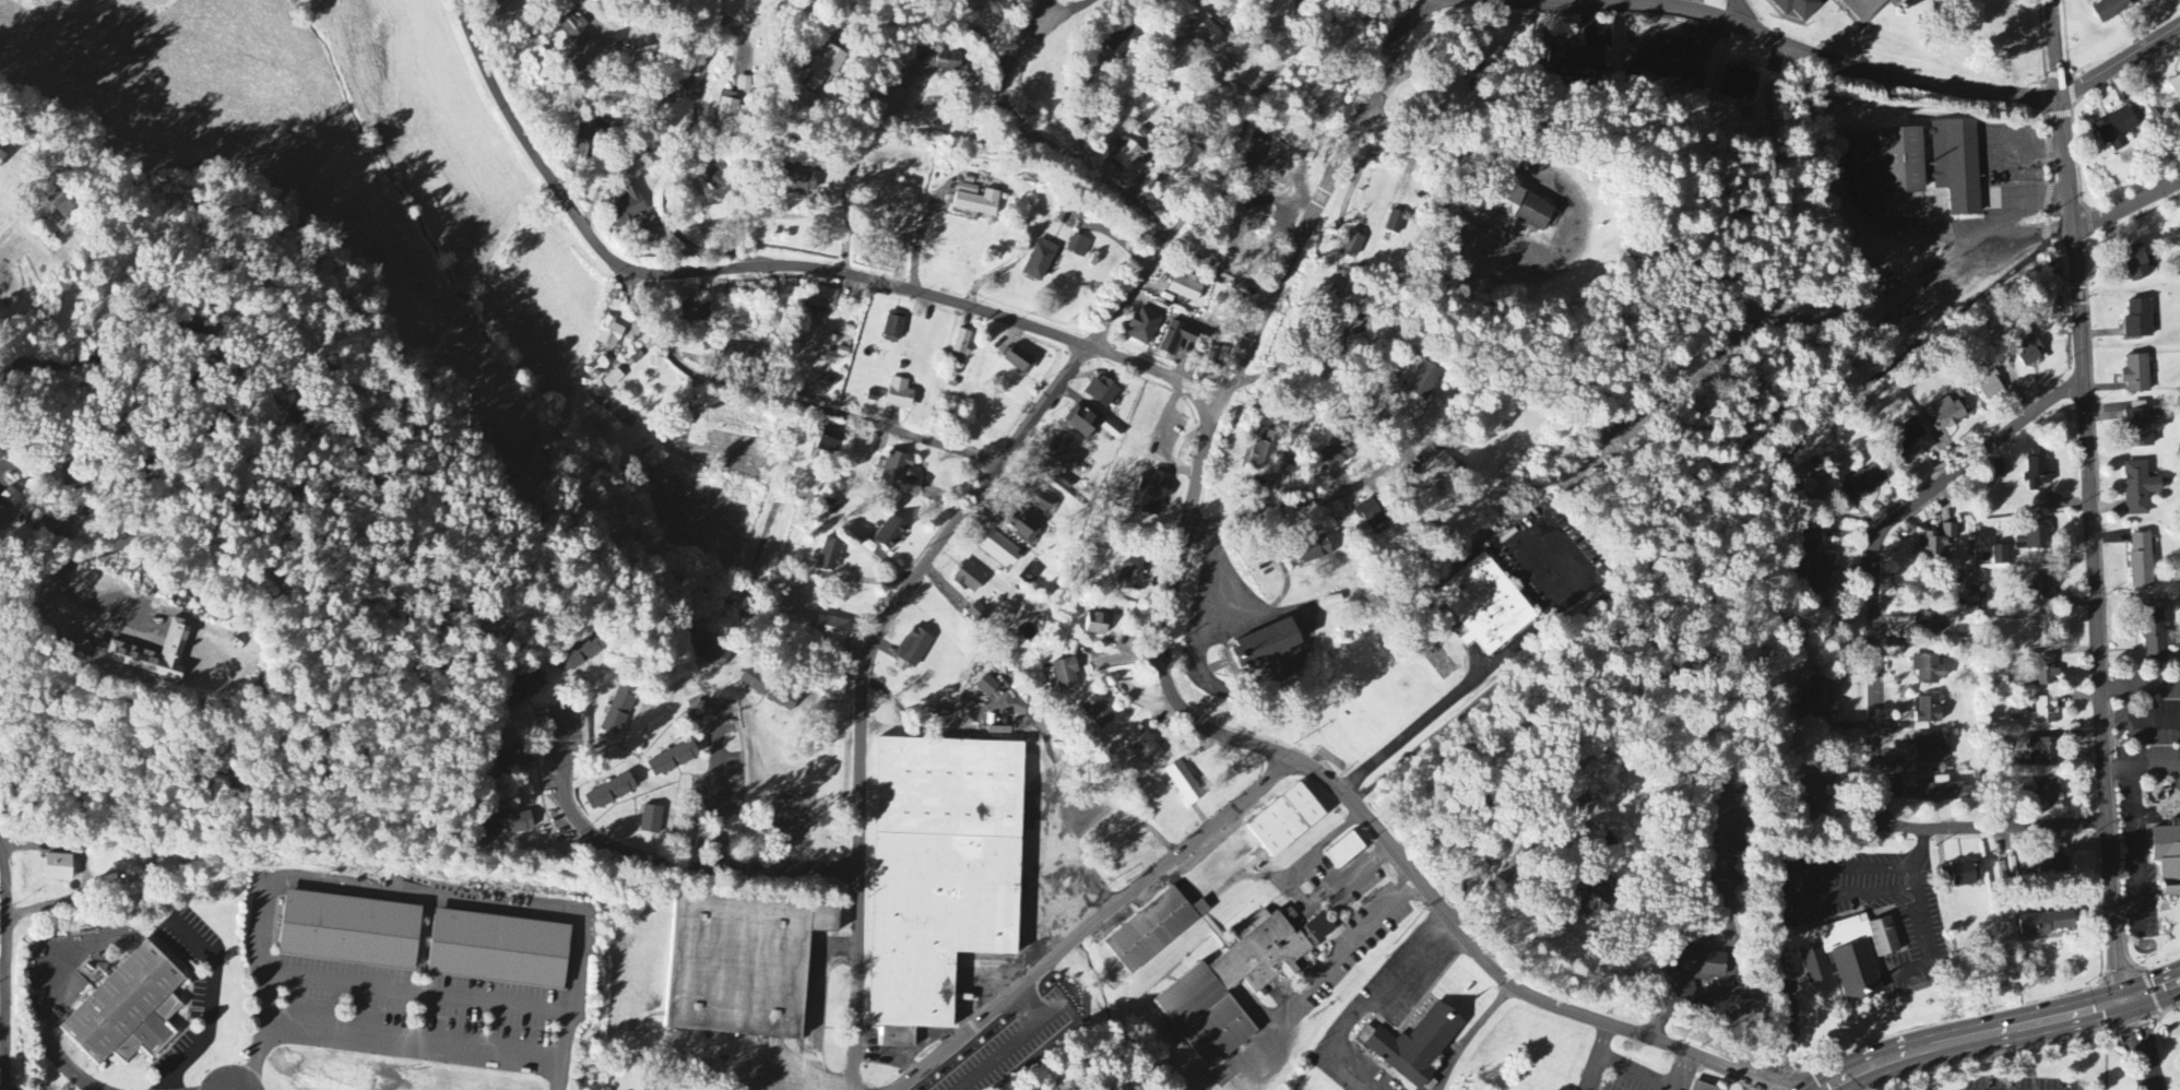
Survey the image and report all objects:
building: (1904, 0)
building: (596, 1)
road: (1422, 4)
road: (1434, 4)
building: (1801, 8)
building: (1864, 10)
building: (2111, 10)
road: (1038, 15)
road: (1059, 15)
road: (963, 23)
building: (1208, 31)
building: (579, 37)
building: (1125, 43)
road: (2053, 48)
building: (1490, 54)
building: (1656, 57)
building: (1575, 59)
building: (941, 61)
road: (2119, 61)
road: (631, 66)
building: (825, 66)
building: (1739, 83)
building: (745, 84)
building: (2175, 87)
building: (727, 109)
building: (2116, 129)
road: (1240, 130)
building: (585, 141)
road: (1424, 146)
building: (1, 155)
building: (1126, 155)
building: (1889, 158)
road: (680, 161)
road: (2050, 170)
building: (716, 180)
building: (797, 180)
road: (1103, 182)
building: (978, 203)
building: (63, 205)
building: (628, 206)
building: (1523, 206)
road: (2128, 218)
road: (846, 223)
building: (1396, 223)
building: (1232, 242)
building: (1352, 245)
building: (1079, 247)
building: (1040, 260)
building: (2136, 263)
road: (771, 272)
building: (1186, 288)
building: (819, 298)
road: (2080, 310)
building: (695, 311)
building: (2140, 320)
building: (1144, 327)
building: (893, 328)
building: (609, 334)
road: (204, 335)
building: (962, 343)
building: (742, 353)
building: (2030, 355)
building: (1019, 360)
building: (2137, 374)
building: (613, 379)
building: (1424, 381)
building: (1990, 386)
building: (1102, 392)
building: (899, 395)
road: (782, 400)
building: (1945, 414)
building: (1081, 422)
building: (2143, 428)
road: (51, 439)
building: (829, 442)
building: (1909, 443)
building: (1265, 450)
building: (1338, 452)
building: (1065, 454)
building: (1429, 455)
building: (2038, 470)
building: (1439, 473)
building: (899, 475)
building: (1868, 481)
building: (1063, 482)
building: (2140, 489)
building: (1153, 493)
building: (10, 499)
road: (1314, 501)
building: (1042, 502)
building: (831, 507)
building: (1370, 516)
building: (2, 518)
road: (1696, 521)
building: (1020, 526)
building: (55, 530)
building: (890, 534)
building: (2034, 540)
building: (1936, 543)
building: (999, 549)
building: (1311, 550)
building: (830, 556)
building: (2000, 556)
building: (2142, 561)
building: (1817, 571)
road: (1220, 572)
building: (1130, 578)
building: (969, 579)
building: (2042, 589)
building: (1488, 603)
building: (978, 614)
building: (1927, 624)
building: (1095, 625)
building: (832, 629)
building: (2156, 636)
building: (1264, 647)
building: (913, 651)
building: (581, 654)
building: (711, 654)
building: (153, 655)
road: (1875, 663)
building: (1929, 670)
road: (1483, 672)
building: (2046, 673)
building: (1065, 675)
road: (862, 682)
building: (987, 687)
building: (523, 690)
building: (770, 690)
road: (2141, 694)
road: (1177, 695)
building: (1820, 702)
building: (618, 710)
building: (2045, 712)
building: (1098, 713)
building: (1927, 713)
road: (2141, 724)
building: (1145, 748)
building: (1931, 750)
building: (2043, 751)
building: (518, 760)
building: (673, 760)
road: (2157, 770)
road: (2121, 772)
building: (1909, 782)
building: (1183, 783)
building: (1821, 783)
road: (718, 786)
building: (1939, 792)
building: (2049, 792)
building: (611, 793)
building: (651, 820)
building: (1286, 821)
building: (509, 825)
road: (2137, 841)
road: (600, 843)
building: (1344, 852)
building: (2168, 858)
building: (1505, 863)
building: (2052, 865)
road: (799, 867)
building: (57, 869)
building: (940, 872)
road: (1553, 873)
building: (1966, 874)
road: (88, 875)
road: (404, 891)
road: (1778, 896)
building: (1595, 897)
road: (2129, 912)
road: (1923, 913)
road: (2138, 922)
road: (1092, 924)
building: (2045, 924)
building: (1319, 929)
building: (1153, 931)
building: (349, 932)
building: (498, 951)
building: (1845, 956)
road: (5, 963)
road: (1330, 964)
building: (742, 965)
building: (1696, 968)
road: (2, 970)
building: (1232, 987)
road: (419, 993)
traffic signals: (2129, 999)
road: (213, 1005)
road: (1369, 1007)
building: (127, 1009)
road: (819, 1015)
road: (1998, 1030)
road: (1470, 1034)
road: (413, 1038)
road: (2141, 1044)
parking lot: (1005, 1045)
building: (1414, 1045)
road: (1034, 1052)
road: (57, 1054)
road: (1597, 1056)
road: (2107, 1058)
road: (1638, 1069)
road: (1685, 1071)
parking lot: (1625, 1078)
parking lot: (2025, 1082)
building: (1703, 1086)

